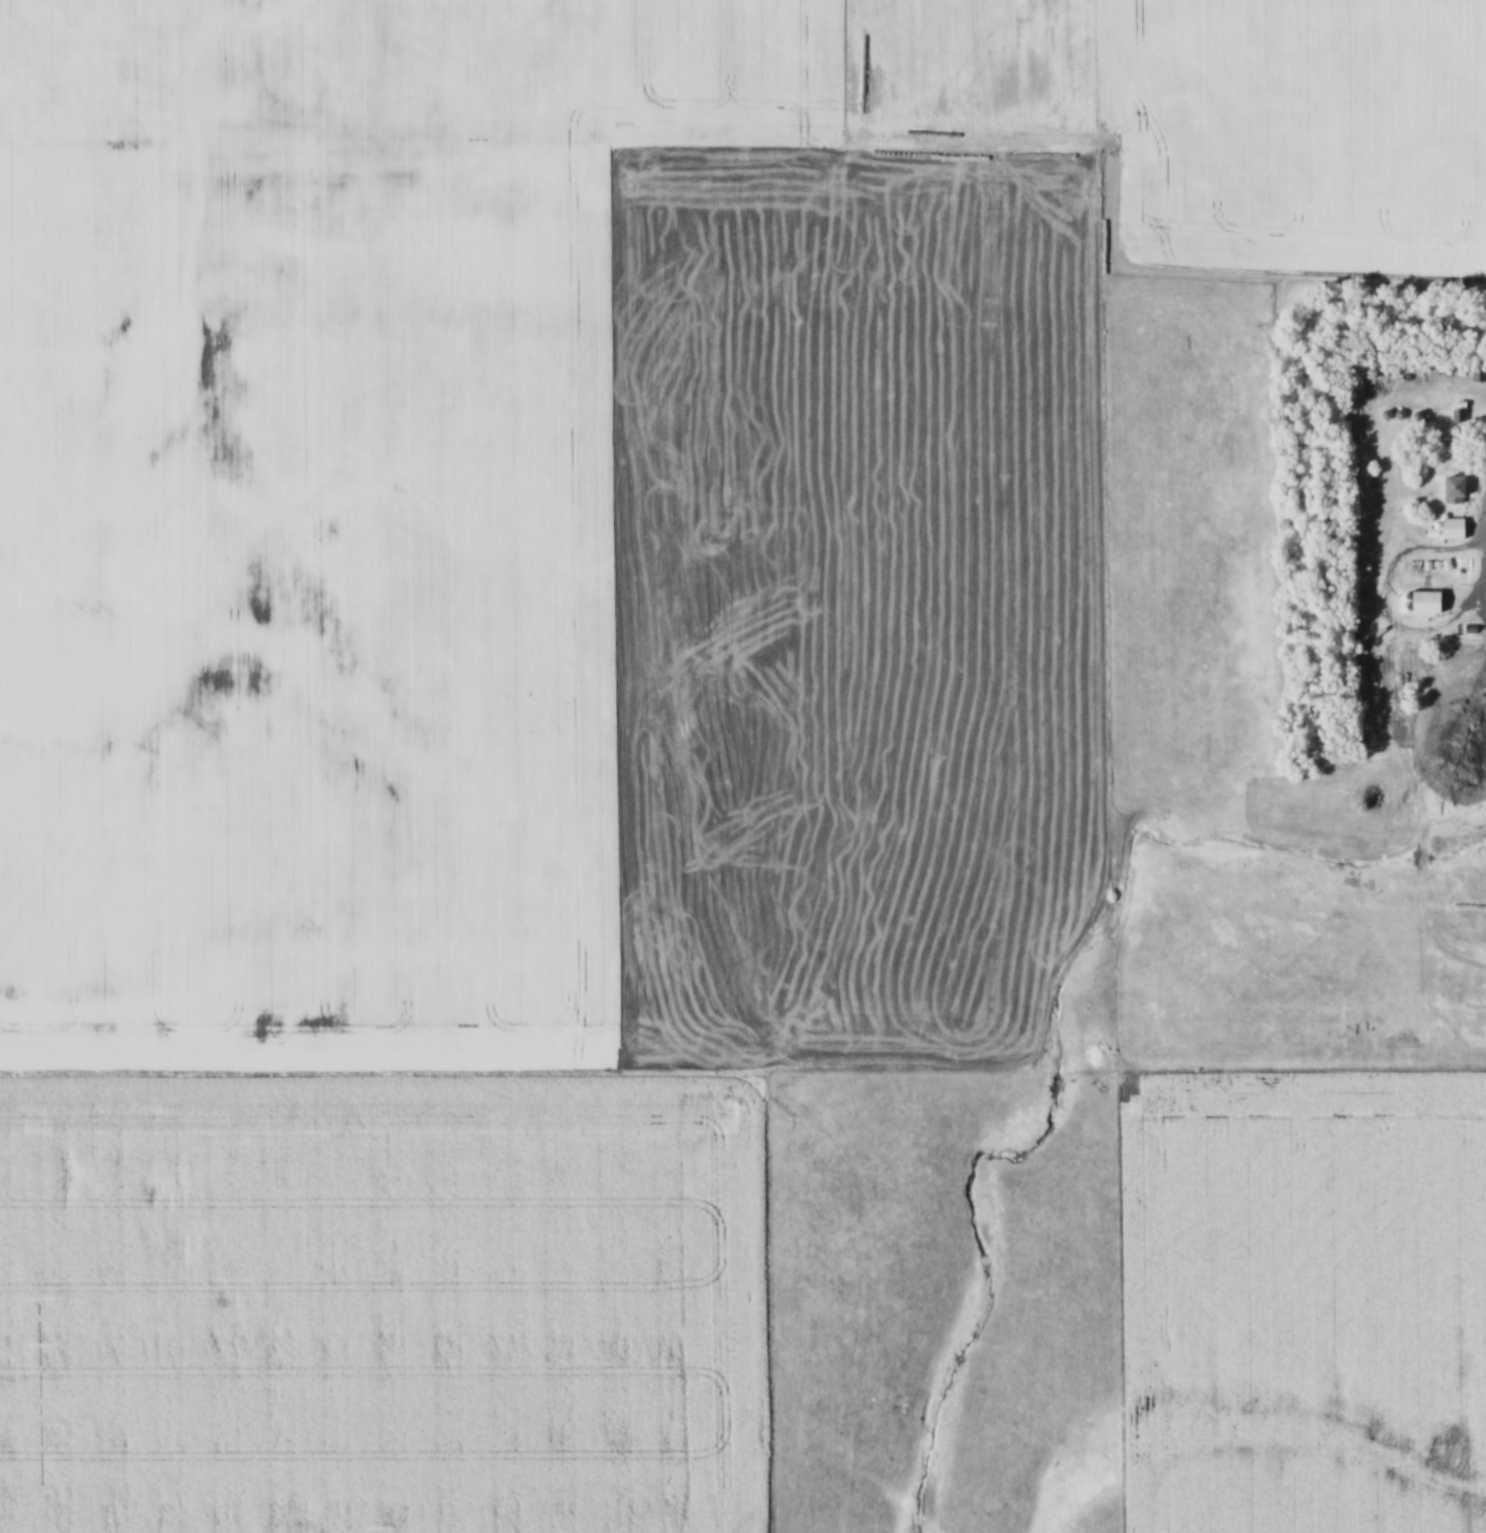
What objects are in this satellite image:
building: (1480, 374)
building: (1454, 490)
building: (1453, 529)
building: (1425, 602)

